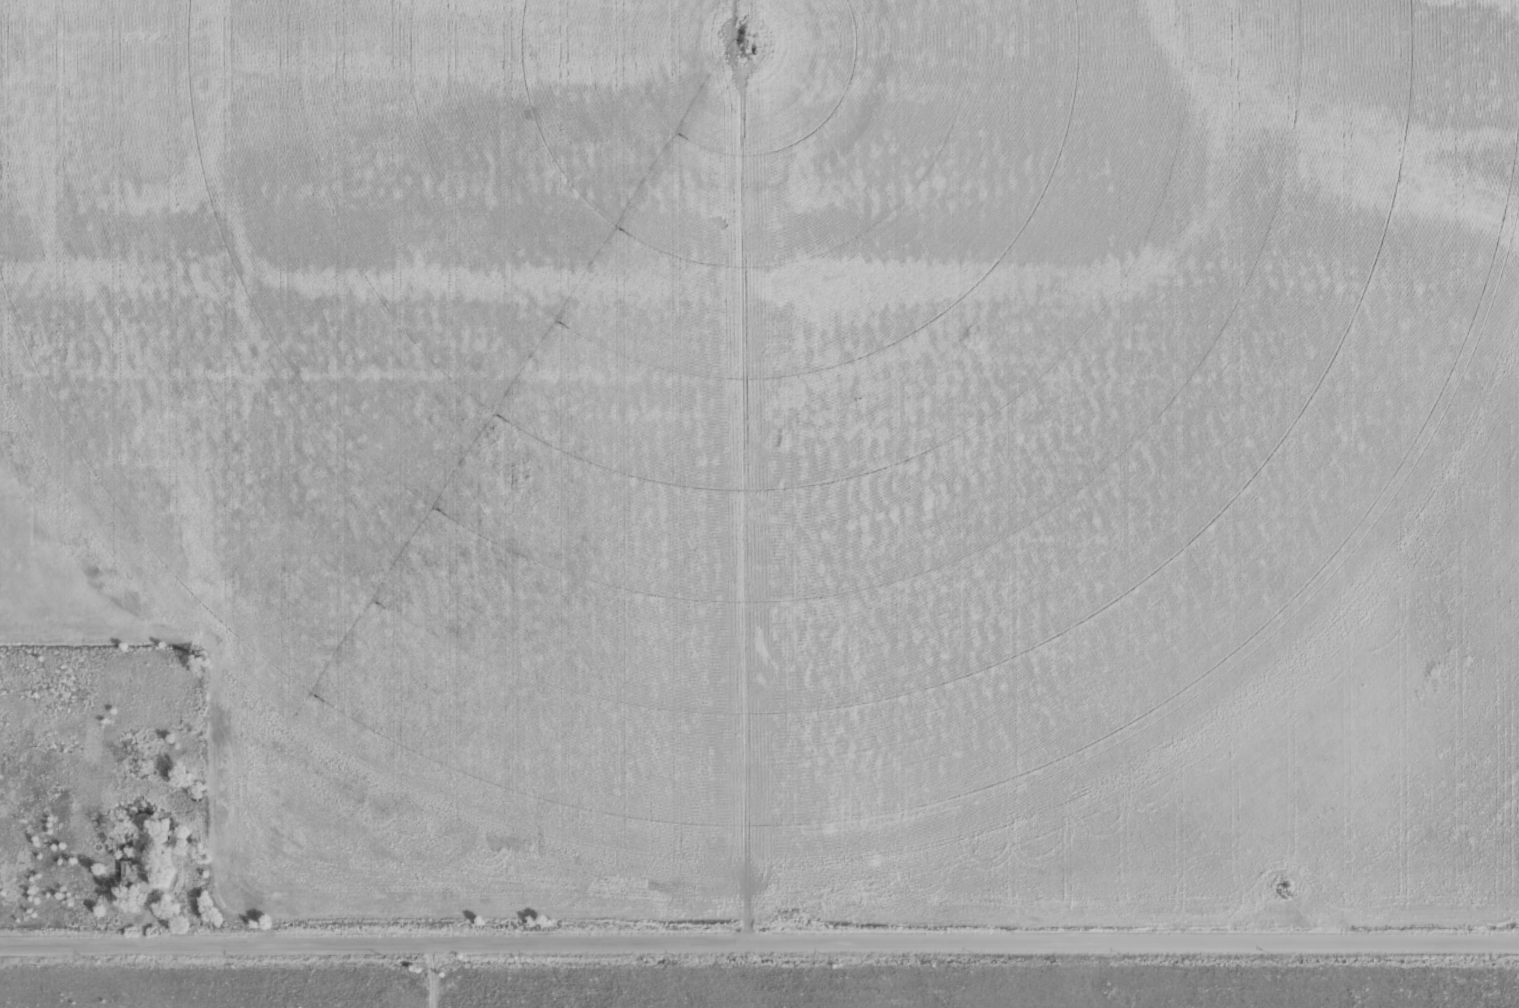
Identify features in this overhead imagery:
building: (139, 875)
road: (759, 939)

